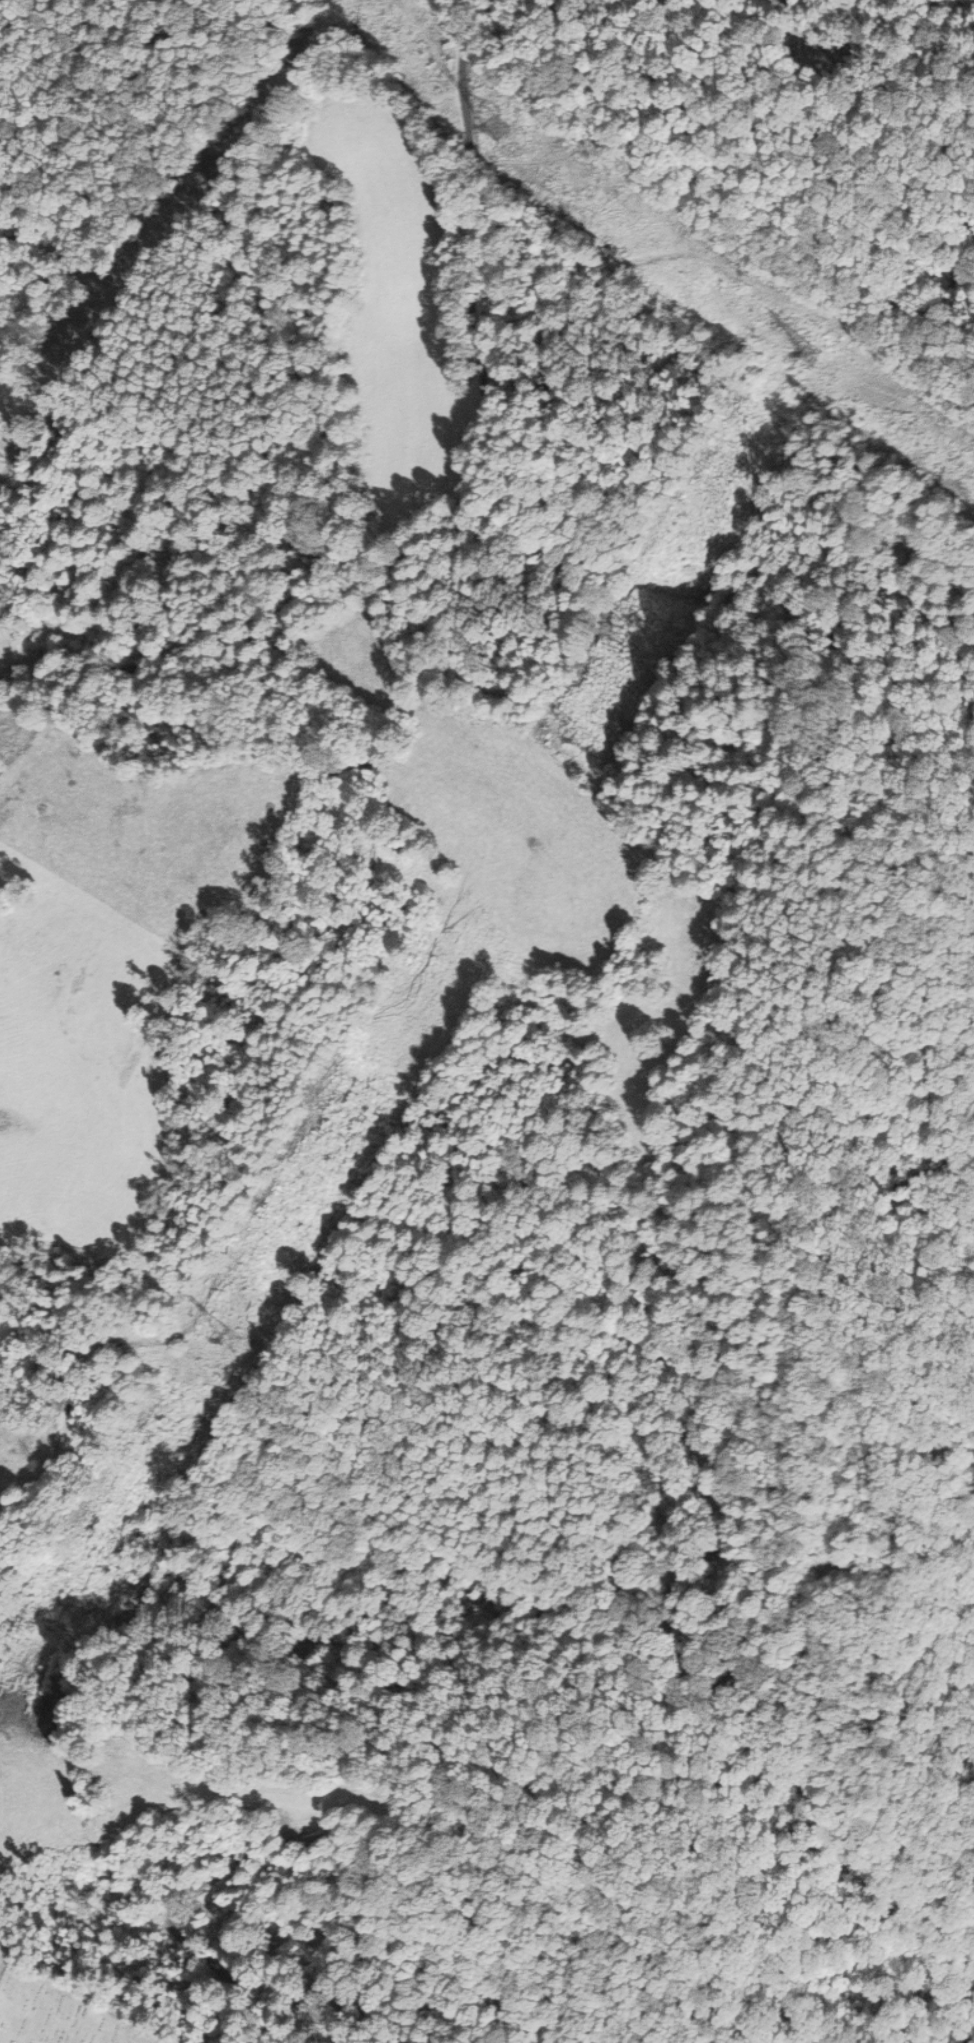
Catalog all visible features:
power tower: (512, 130)
power tower: (818, 355)
road: (463, 490)
power tower: (593, 739)
power tower: (238, 1334)

